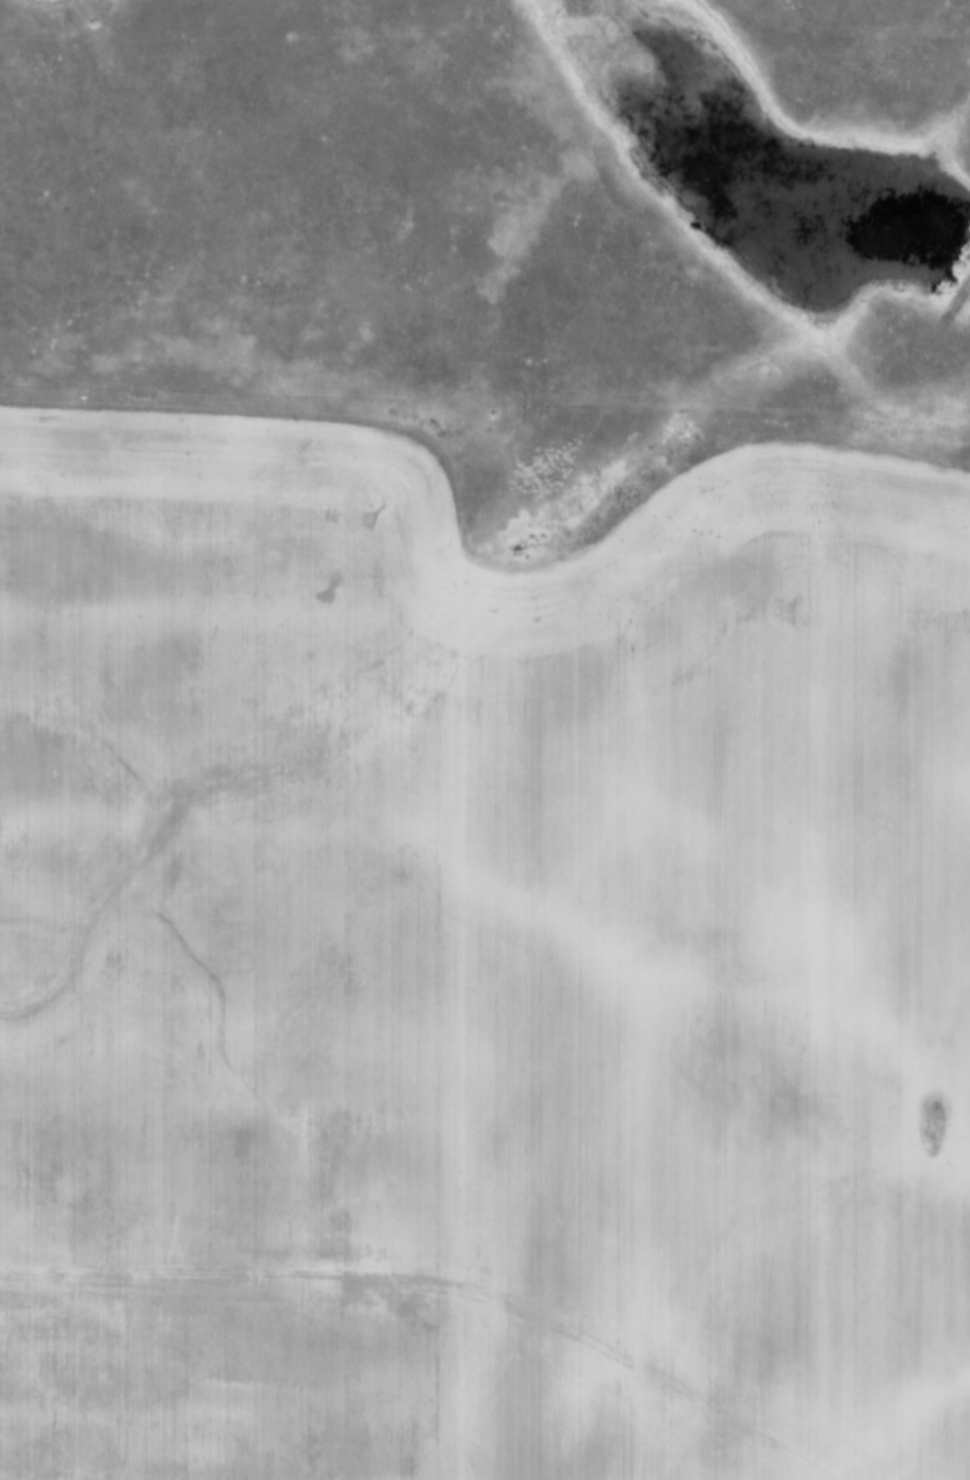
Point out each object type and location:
road: (464, 1293)
road: (482, 1389)

